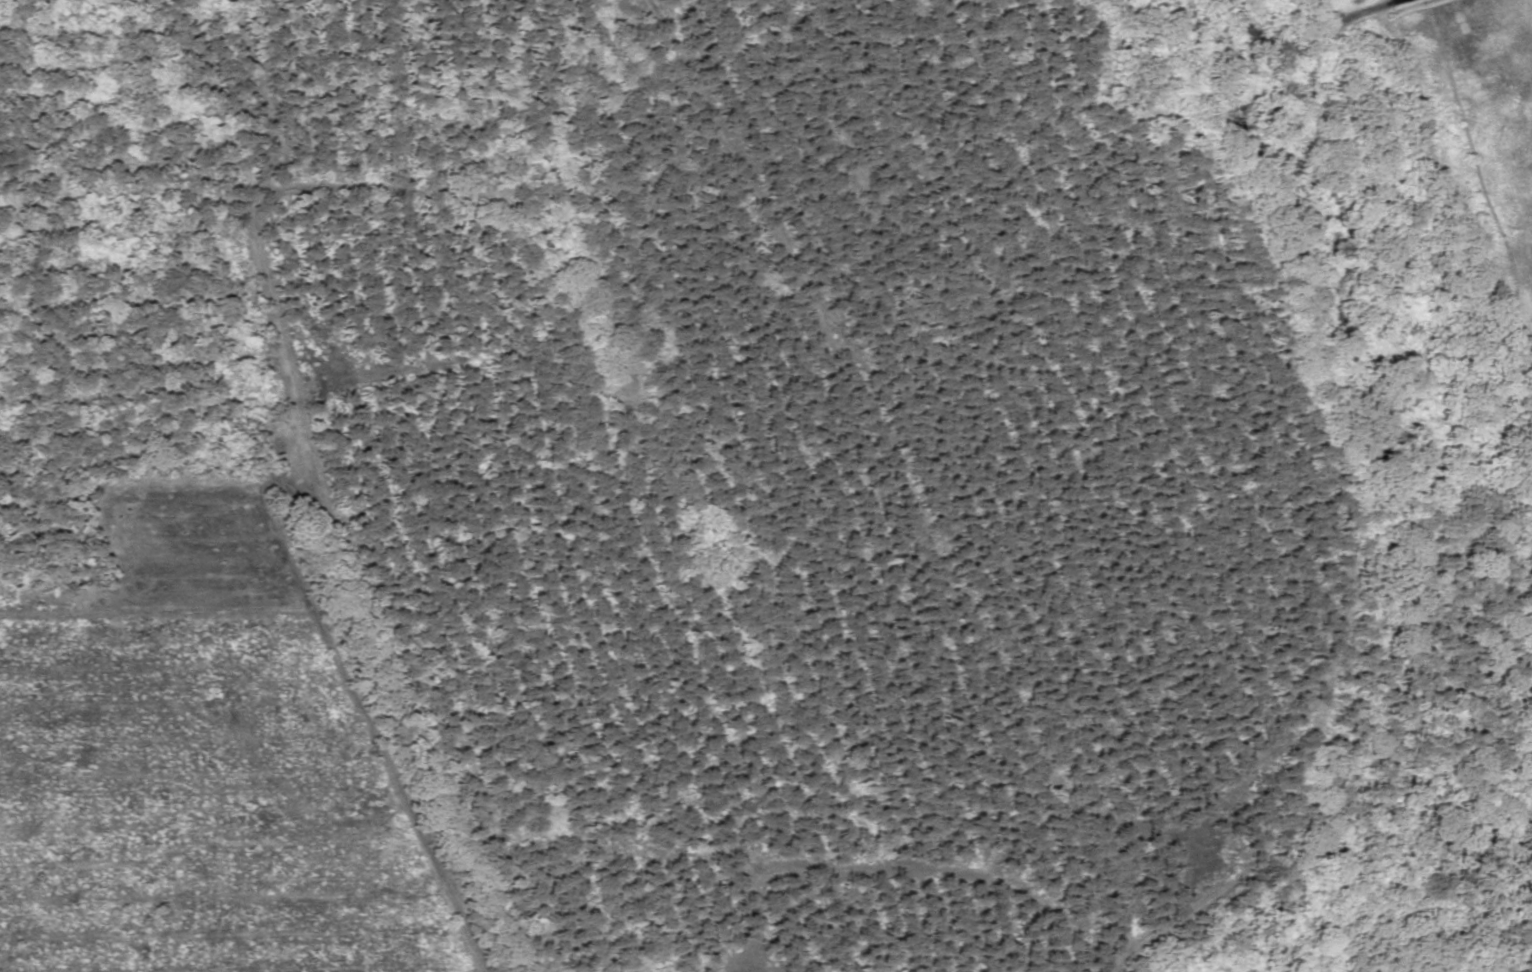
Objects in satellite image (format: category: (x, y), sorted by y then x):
building: (1418, 126)
building: (1395, 736)
road: (1117, 968)

